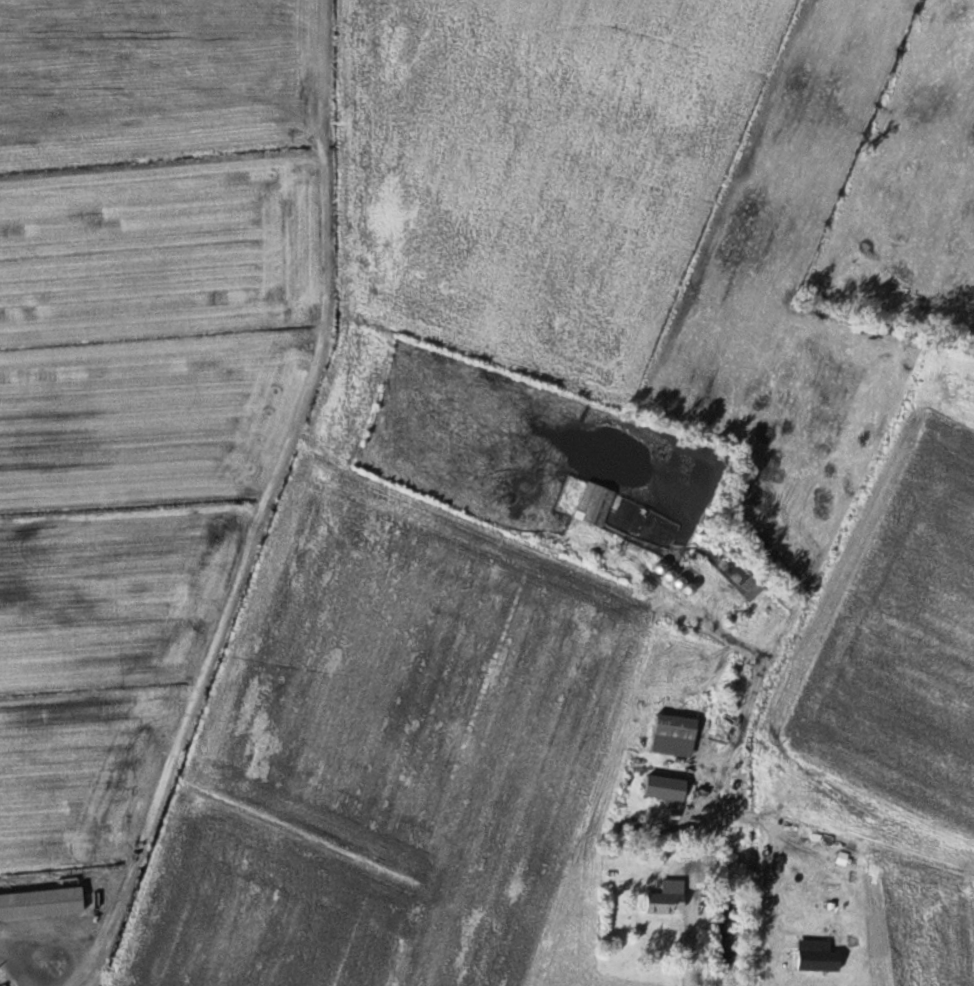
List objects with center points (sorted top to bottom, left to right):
road: (161, 140)
building: (597, 505)
road: (263, 508)
building: (686, 585)
building: (752, 588)
building: (667, 788)
building: (668, 898)
road: (691, 930)

